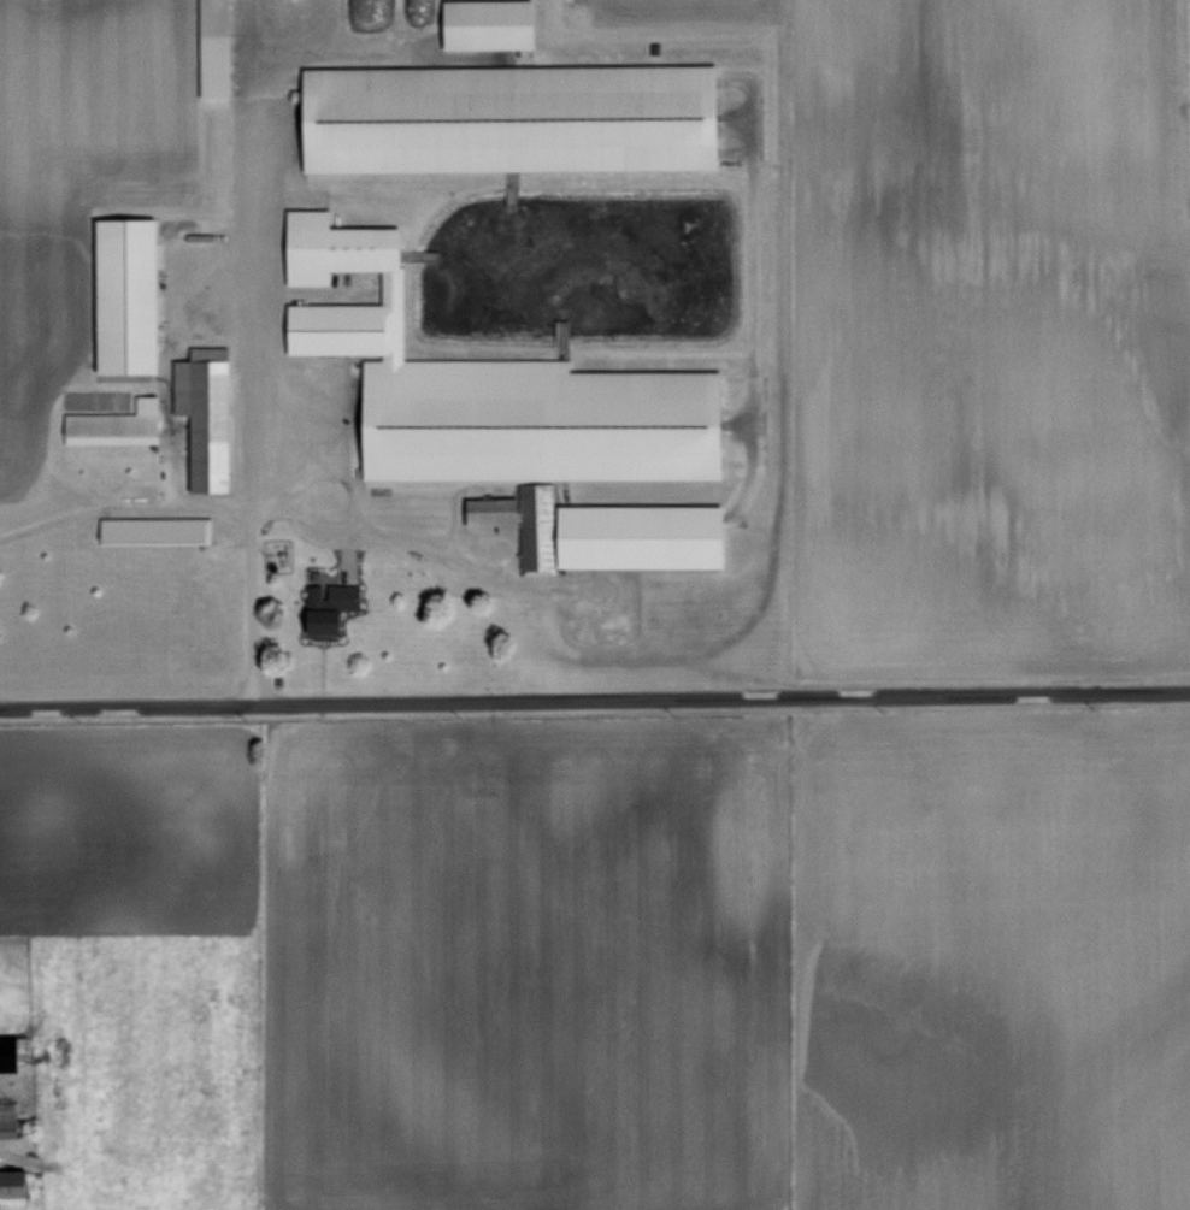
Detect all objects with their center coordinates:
building: (477, 23)
building: (205, 47)
building: (499, 116)
building: (1189, 317)
road: (249, 352)
building: (481, 386)
building: (198, 413)
building: (107, 424)
road: (123, 506)
building: (148, 527)
building: (595, 530)
building: (319, 607)
road: (594, 700)
building: (6, 1118)
building: (12, 1190)

